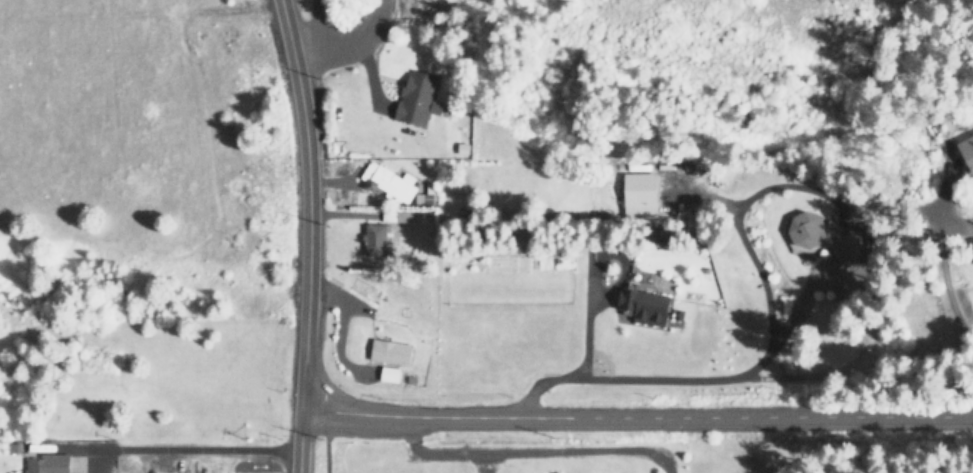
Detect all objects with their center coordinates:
road: (306, 26)
road: (348, 42)
building: (417, 97)
building: (964, 152)
building: (388, 181)
building: (641, 194)
road: (306, 235)
building: (375, 239)
building: (971, 248)
road: (748, 256)
road: (335, 297)
building: (646, 305)
road: (584, 317)
road: (335, 346)
building: (391, 351)
building: (390, 373)
road: (635, 417)
road: (634, 426)
road: (324, 445)
road: (176, 449)
road: (526, 450)
road: (481, 462)
building: (48, 463)

